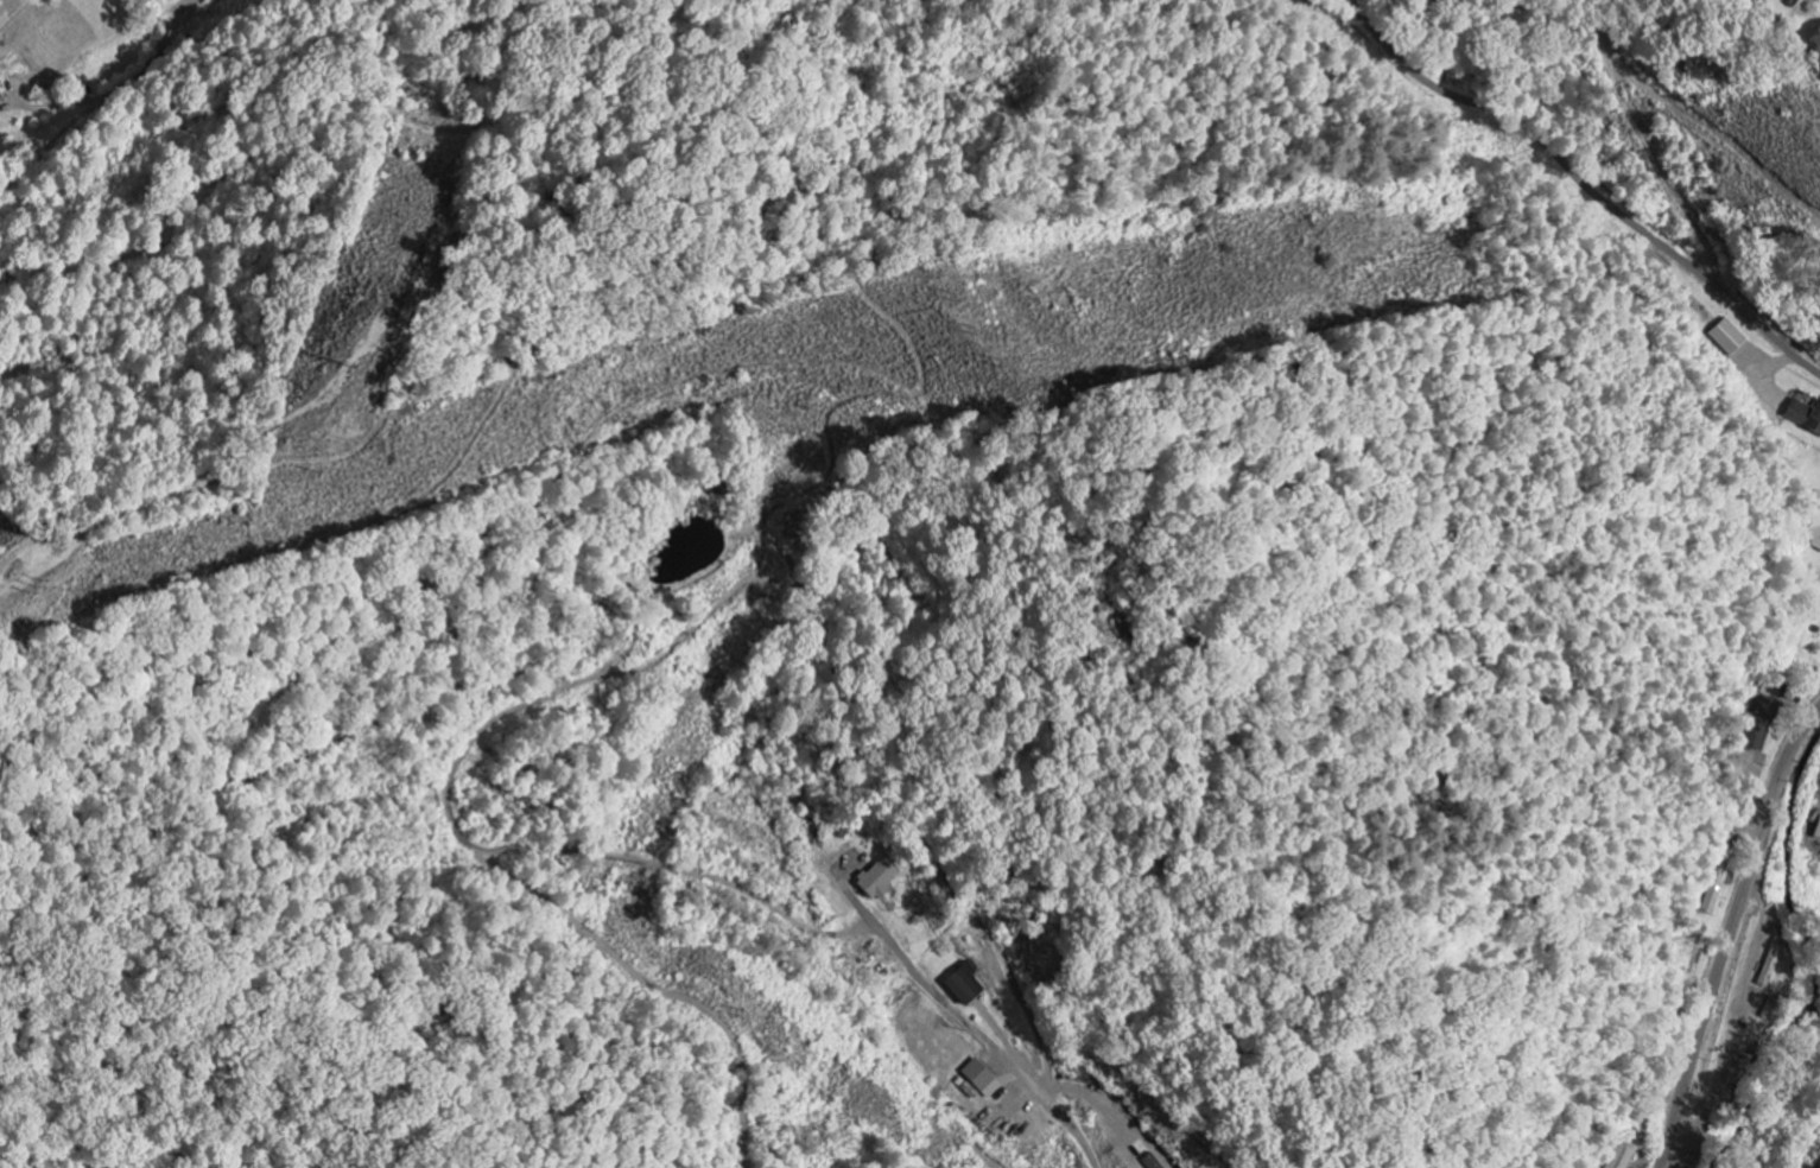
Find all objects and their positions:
building: (1789, 0)
road: (72, 102)
building: (1, 106)
road: (1583, 185)
building: (1727, 338)
power tower: (334, 363)
building: (1803, 417)
building: (1811, 525)
building: (1818, 832)
building: (877, 880)
building: (1717, 887)
road: (1731, 935)
building: (963, 985)
road: (988, 1042)
building: (977, 1083)
building: (1619, 1157)
building: (1150, 1162)

